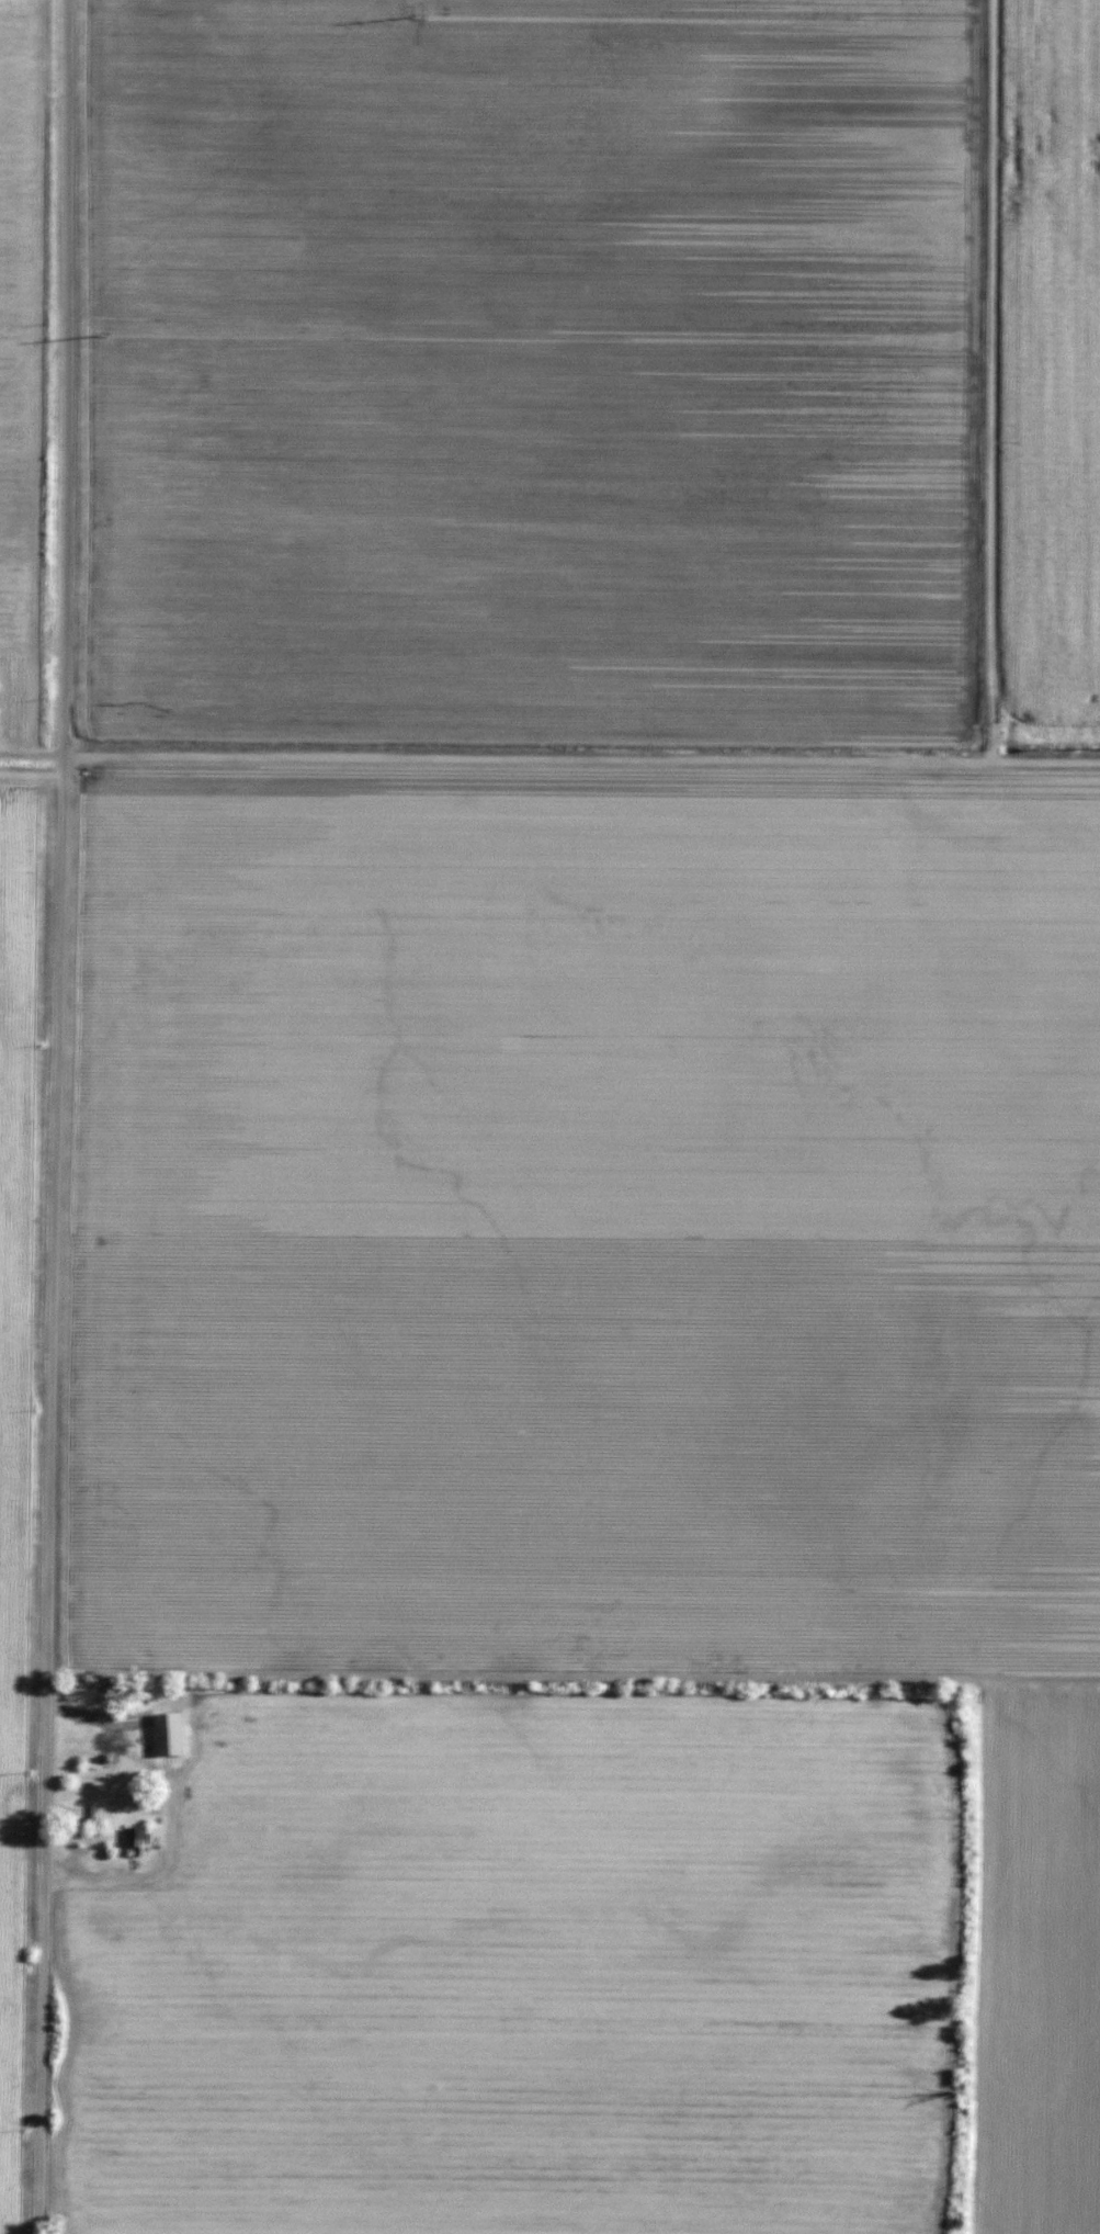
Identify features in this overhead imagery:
power tower: (415, 16)
power tower: (102, 335)
road: (57, 1116)

